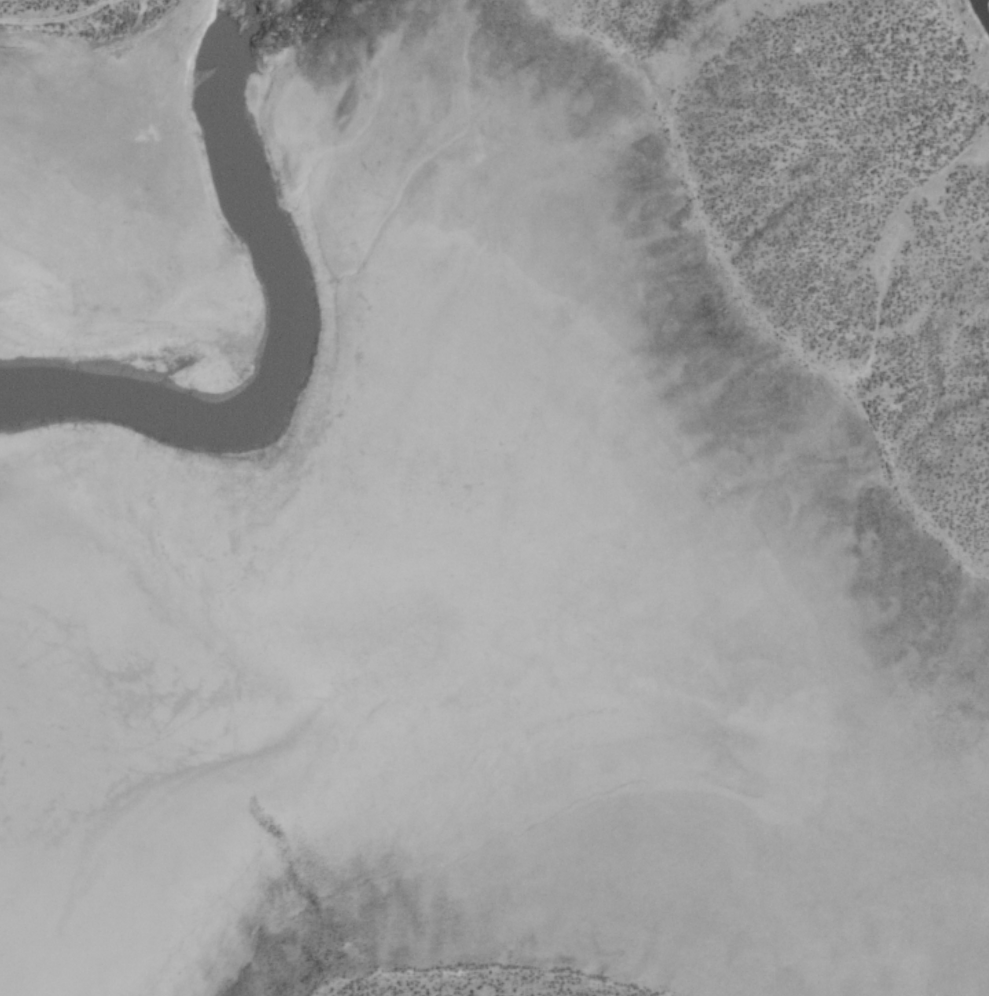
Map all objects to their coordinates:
road: (48, 14)
road: (128, 15)

